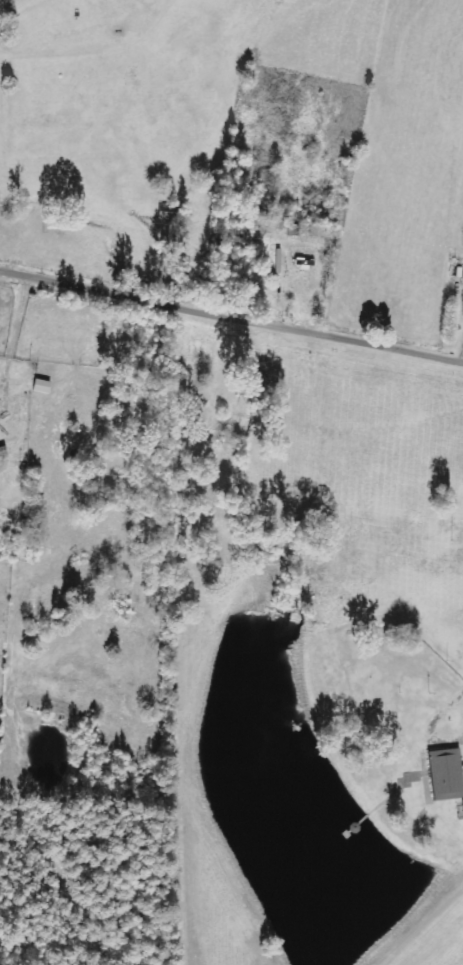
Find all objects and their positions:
building: (301, 264)
road: (231, 317)
building: (41, 386)
building: (2, 452)
road: (435, 724)
building: (445, 774)
building: (462, 805)

